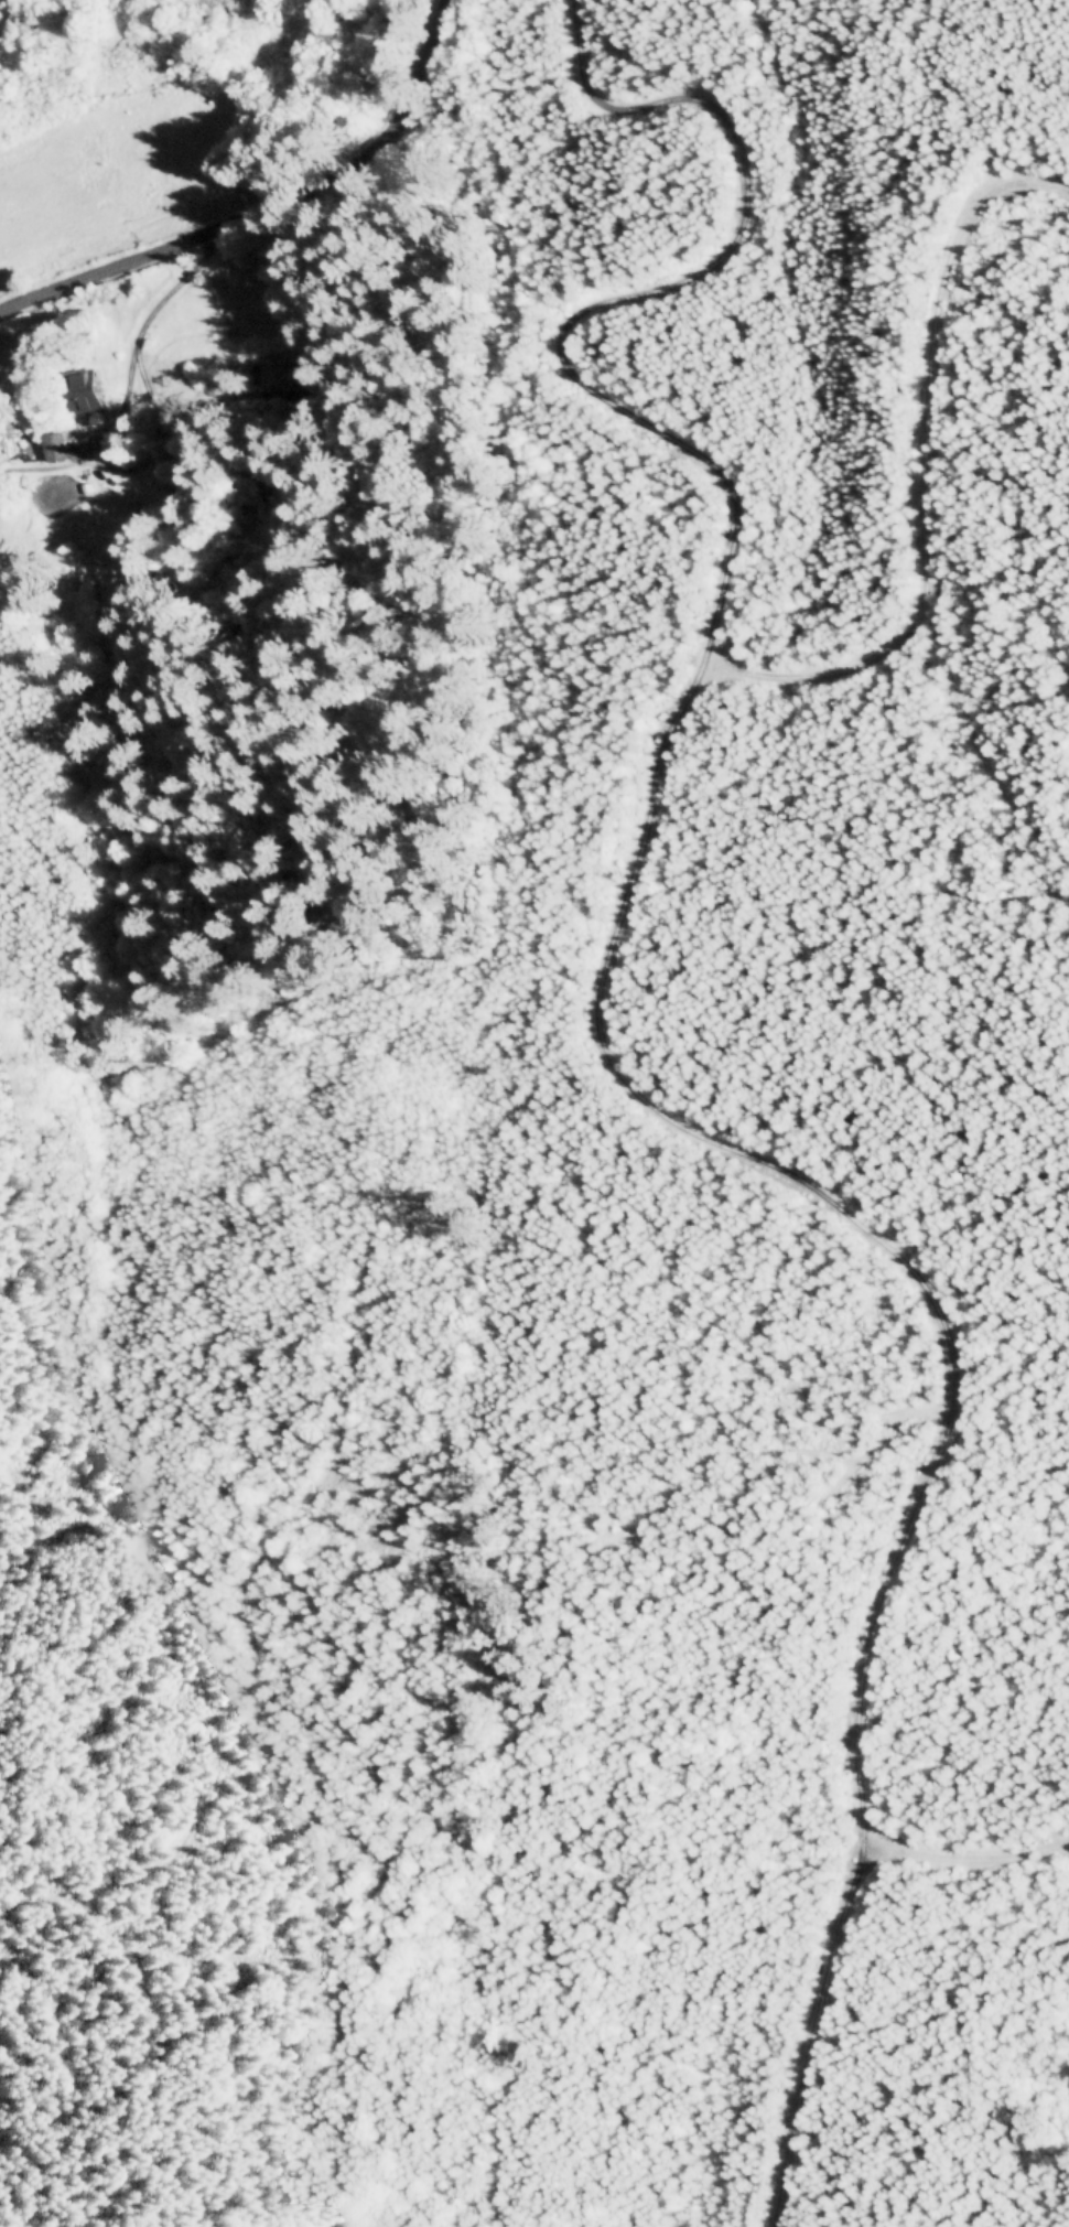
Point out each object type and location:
road: (263, 204)
road: (117, 412)

